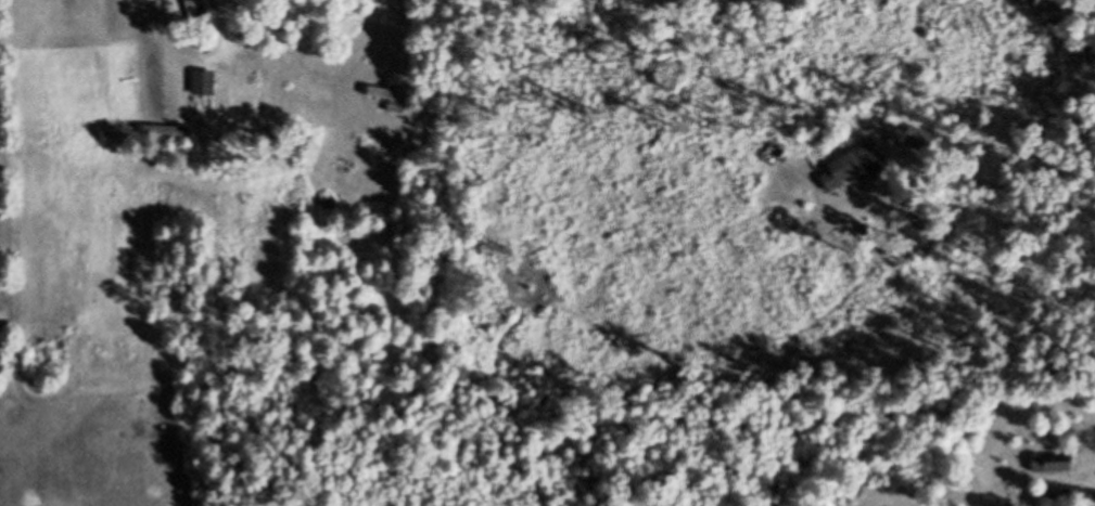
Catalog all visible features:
building: (205, 85)
building: (392, 95)
road: (393, 96)
building: (918, 140)
building: (853, 167)
building: (1055, 463)
building: (1080, 497)

